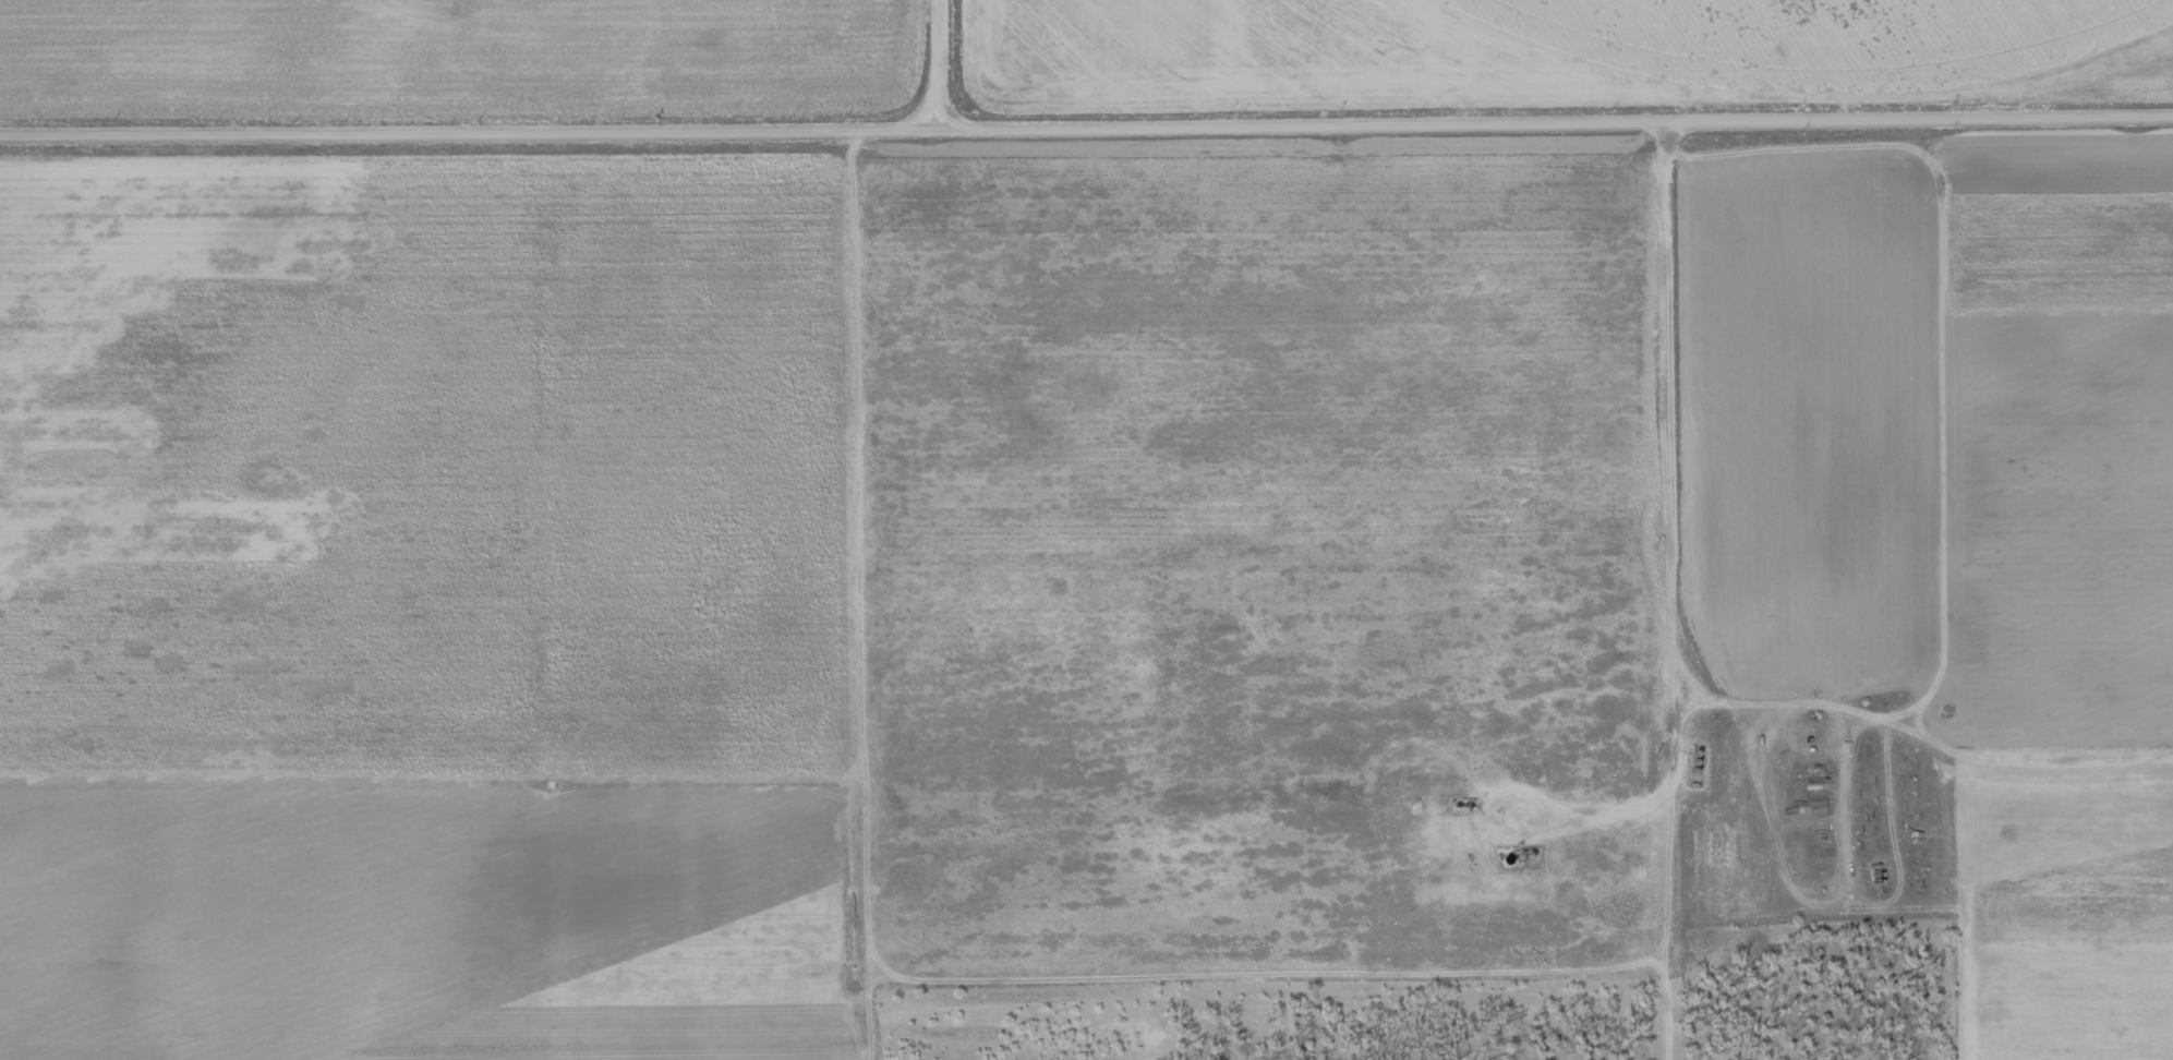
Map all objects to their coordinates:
road: (1816, 70)
road: (929, 73)
road: (1086, 147)
road: (1073, 515)
road: (1640, 605)
road: (1903, 737)
road: (865, 785)

